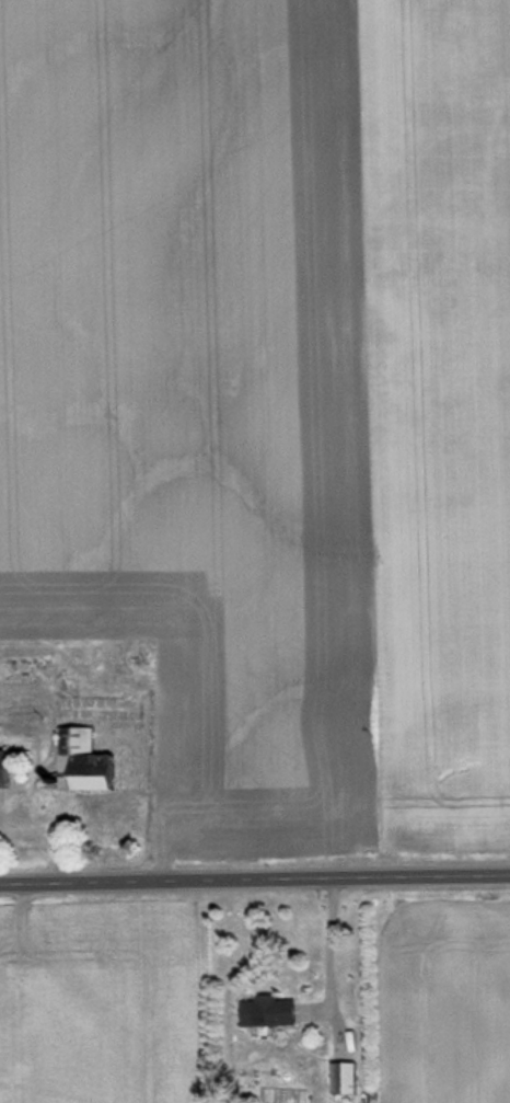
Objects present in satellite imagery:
building: (79, 761)
building: (1, 770)
road: (255, 882)
building: (266, 1011)

